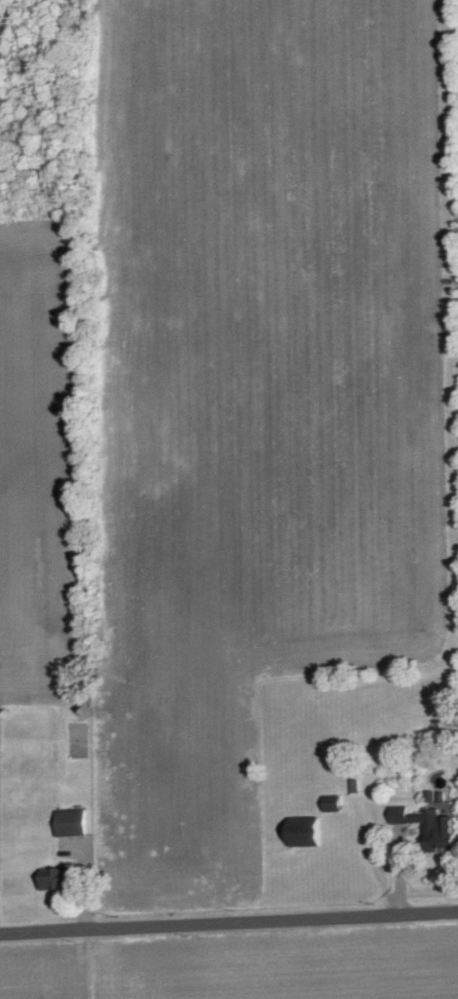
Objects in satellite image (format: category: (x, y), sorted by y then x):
building: (426, 826)
building: (69, 827)
building: (305, 832)
building: (55, 877)
road: (228, 921)

